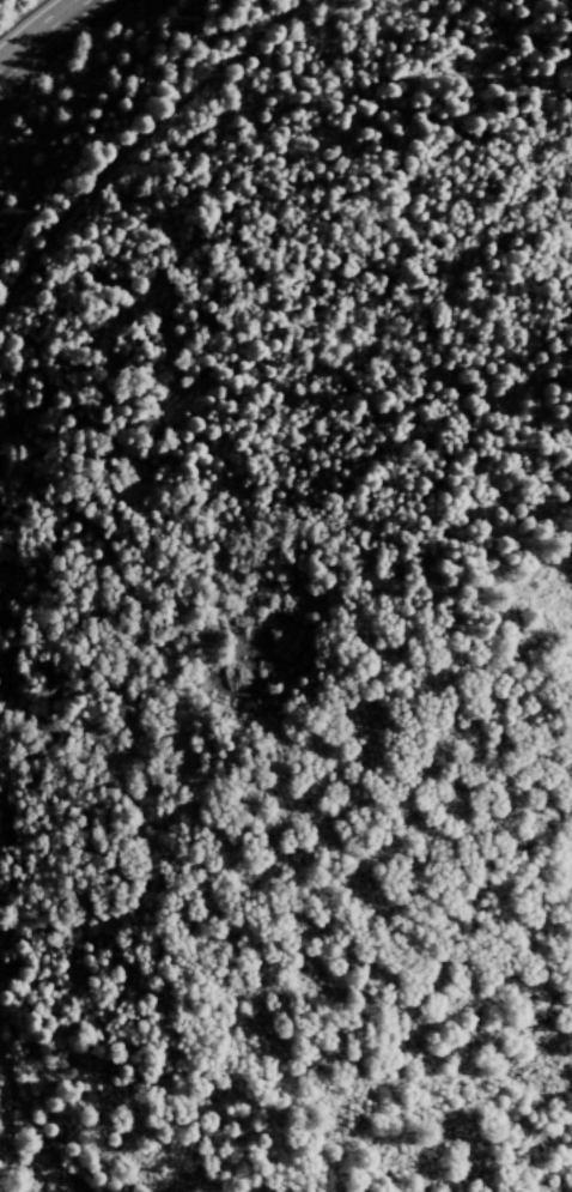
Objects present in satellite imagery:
road: (34, 26)
road: (29, 524)

